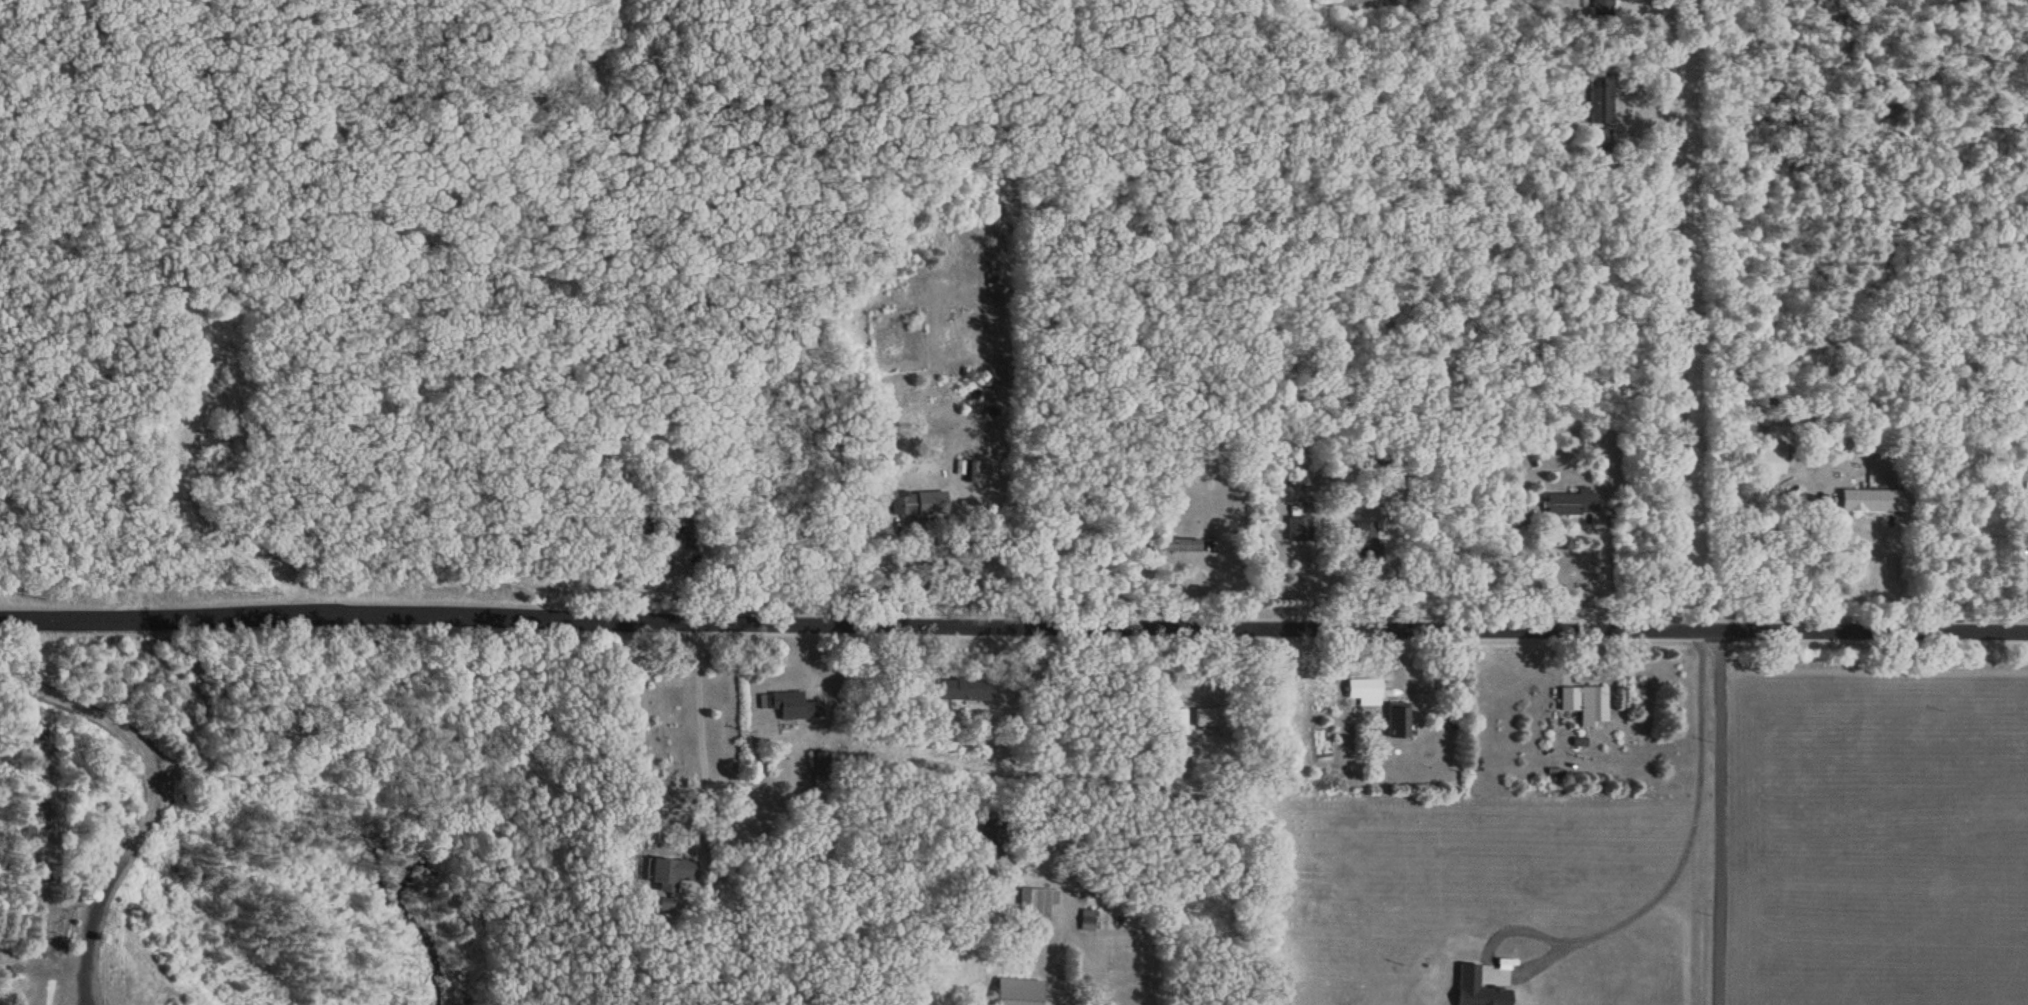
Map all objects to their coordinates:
building: (1601, 7)
building: (1600, 98)
building: (1599, 139)
road: (1680, 313)
building: (1770, 460)
building: (1210, 462)
building: (1874, 499)
building: (1572, 502)
building: (918, 503)
building: (686, 523)
building: (661, 524)
building: (1299, 527)
building: (1367, 539)
building: (1174, 542)
road: (1894, 577)
road: (1013, 626)
building: (965, 689)
building: (1364, 690)
building: (1585, 703)
building: (797, 706)
building: (1224, 719)
building: (1398, 720)
building: (1175, 721)
road: (699, 722)
road: (1047, 737)
road: (155, 803)
road: (1721, 817)
building: (992, 836)
building: (713, 839)
building: (670, 871)
road: (1647, 902)
building: (1037, 908)
building: (1086, 918)
building: (1017, 996)

